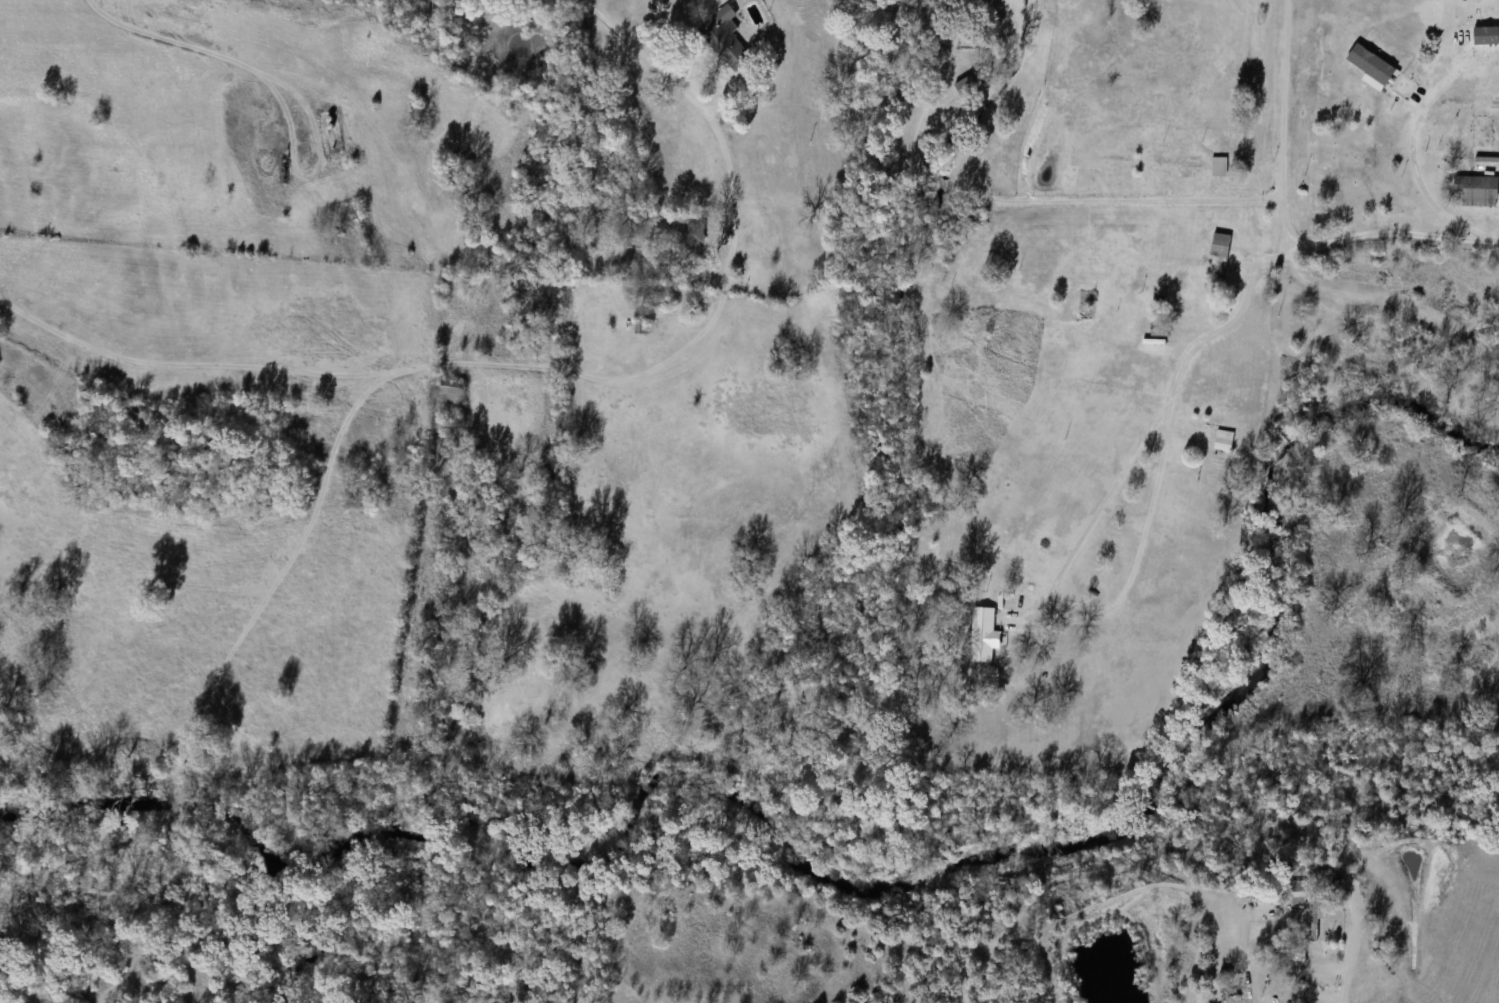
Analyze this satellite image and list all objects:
building: (724, 39)
building: (1371, 66)
road: (754, 71)
building: (968, 84)
building: (1405, 87)
road: (1286, 125)
building: (1445, 137)
building: (1176, 162)
building: (1219, 166)
building: (1478, 194)
building: (913, 196)
road: (1045, 202)
building: (691, 237)
building: (1221, 245)
road: (1301, 248)
road: (730, 271)
building: (1159, 328)
building: (450, 391)
building: (1224, 440)
road: (1162, 463)
building: (982, 635)
building: (1323, 877)
building: (1298, 893)
building: (1315, 918)
road: (1358, 958)

